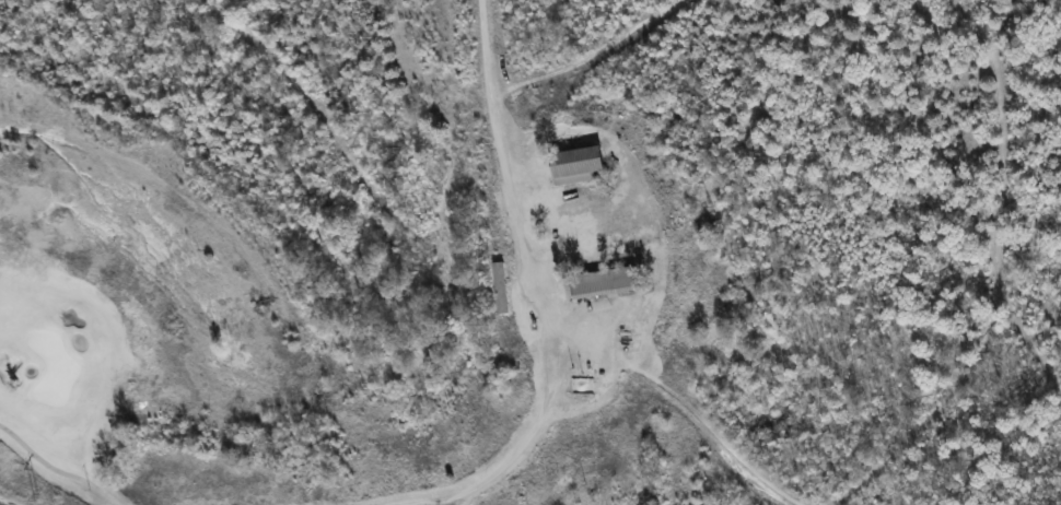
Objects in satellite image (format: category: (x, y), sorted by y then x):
building: (581, 161)
building: (608, 283)
building: (503, 287)
road: (540, 319)
road: (678, 398)
road: (56, 470)

